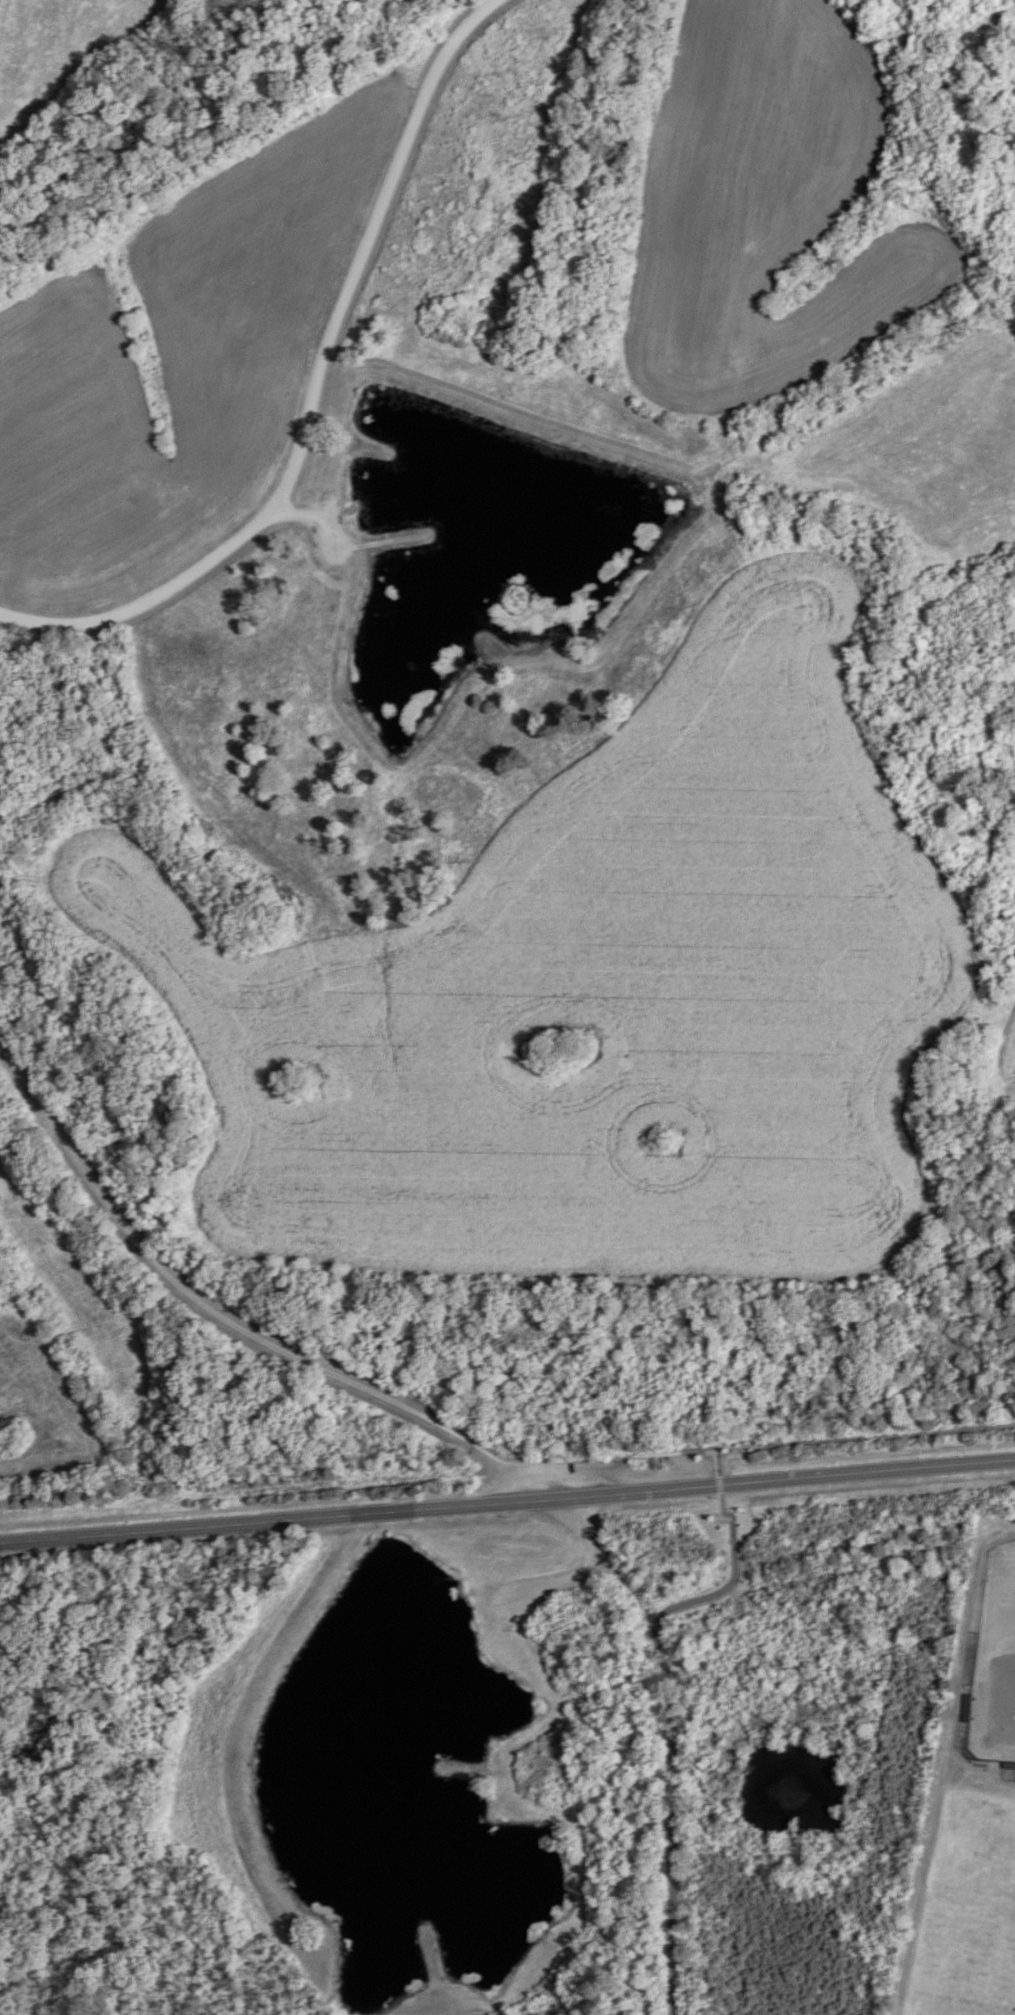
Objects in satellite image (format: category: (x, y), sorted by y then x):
road: (312, 390)
dam: (622, 462)
road: (302, 1359)
road: (864, 1436)
parking lot: (548, 1479)
road: (507, 1502)
road: (582, 1569)
parking lot: (510, 1600)
park: (995, 1661)
road: (667, 1704)
dam: (256, 1735)
park: (970, 1919)

